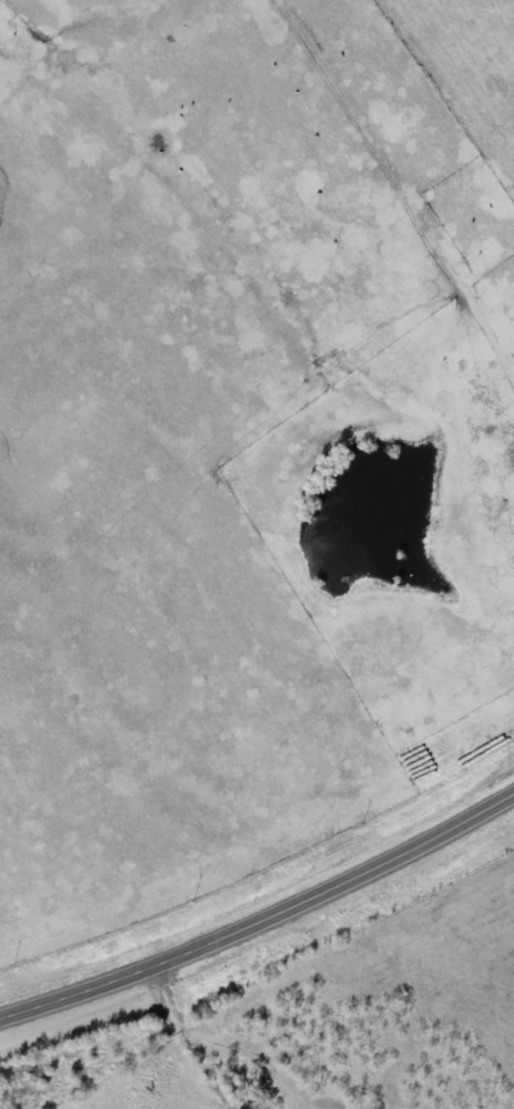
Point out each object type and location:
road: (267, 921)
road: (16, 1074)

